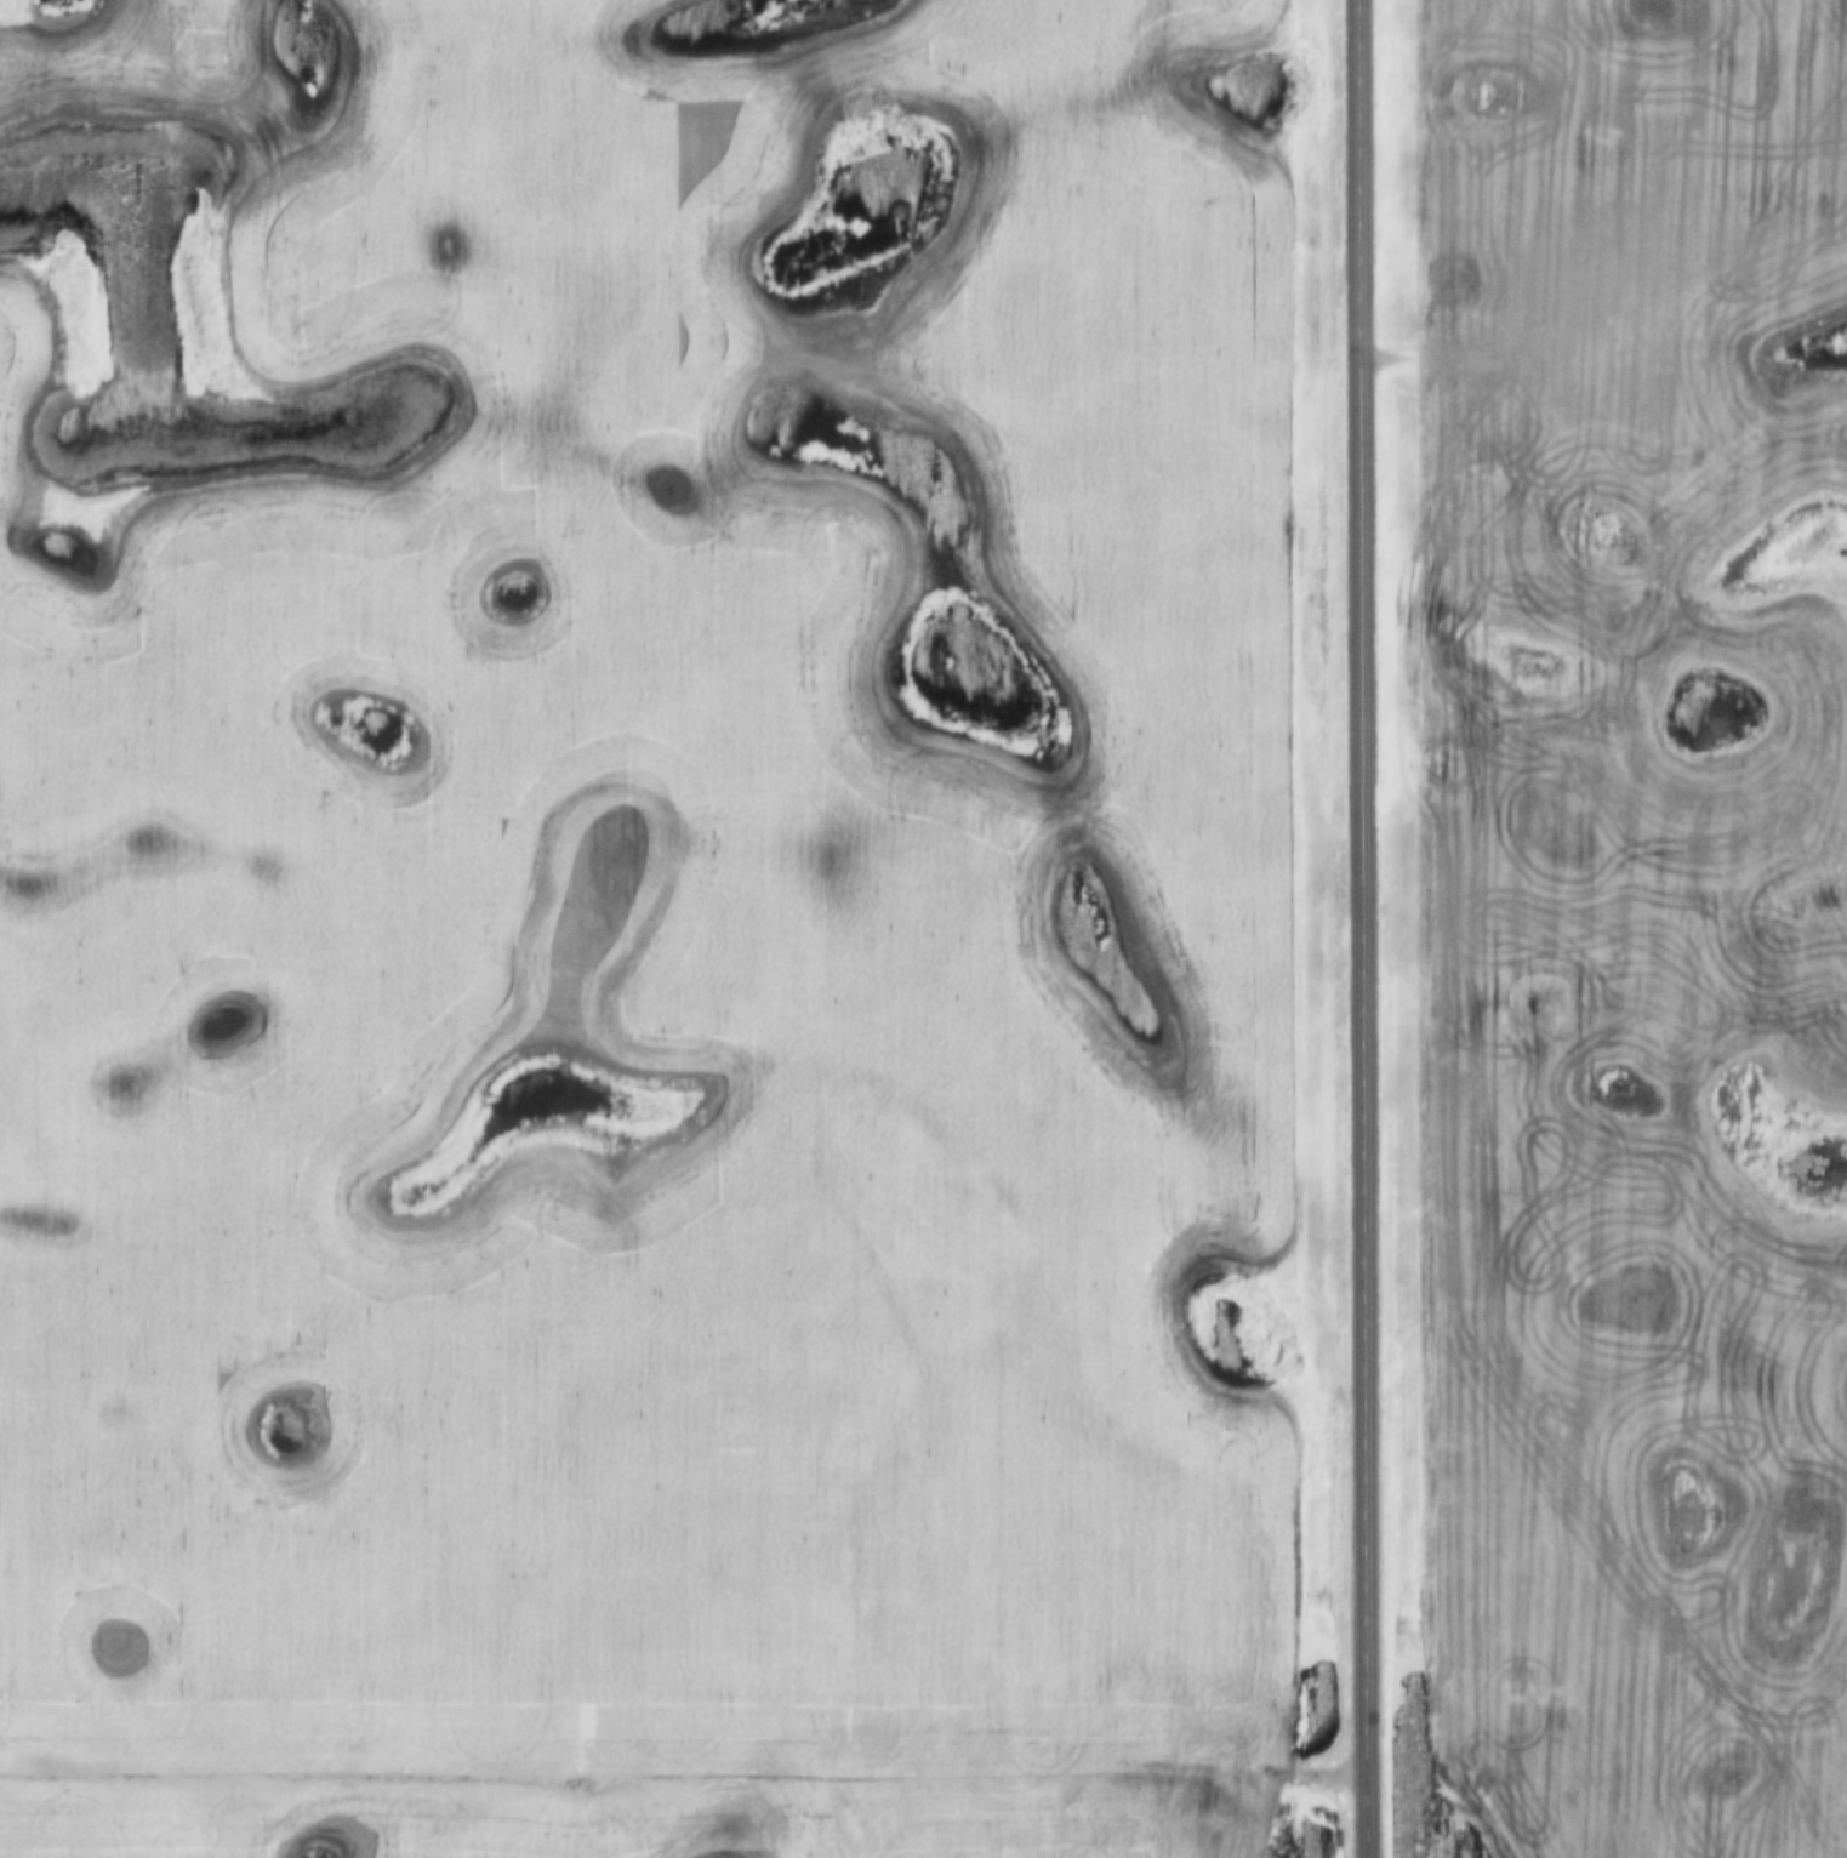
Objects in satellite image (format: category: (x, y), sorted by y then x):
road: (1366, 928)
road: (683, 1776)

